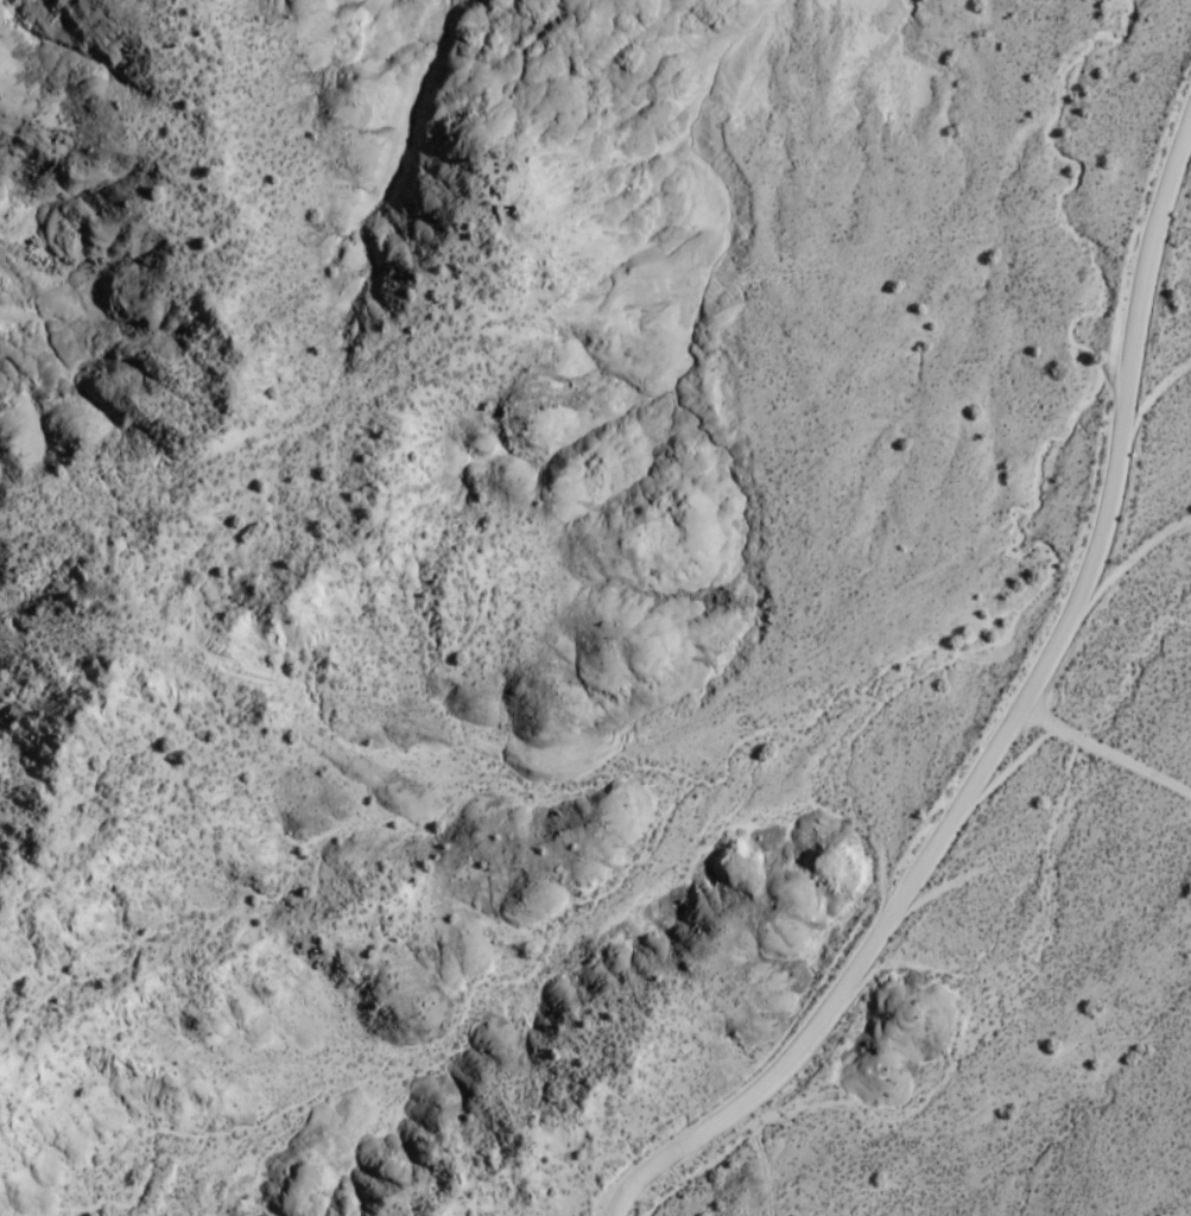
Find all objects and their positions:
road: (1012, 716)

